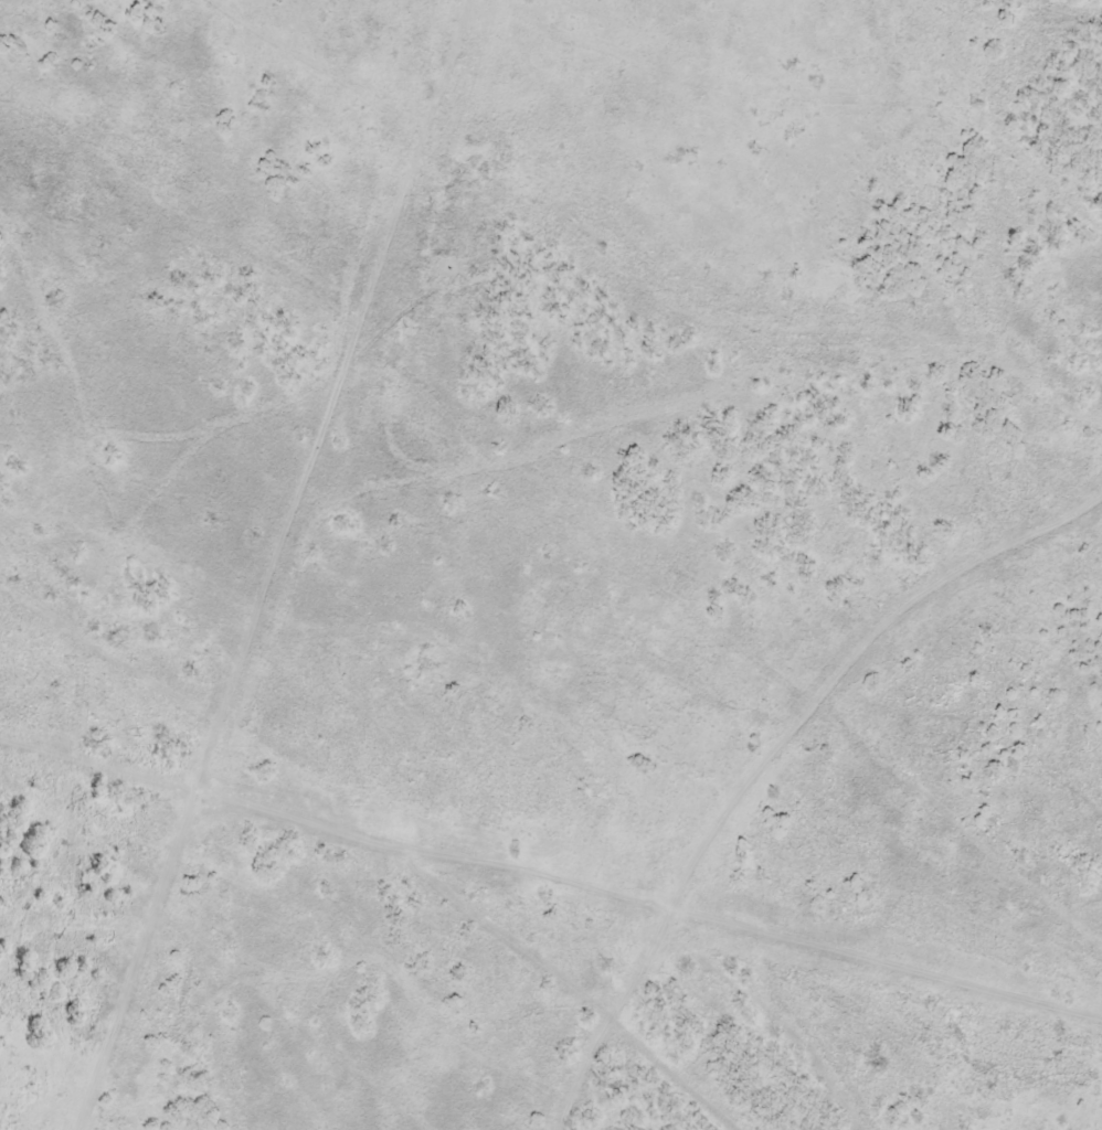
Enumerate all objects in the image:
road: (769, 747)

